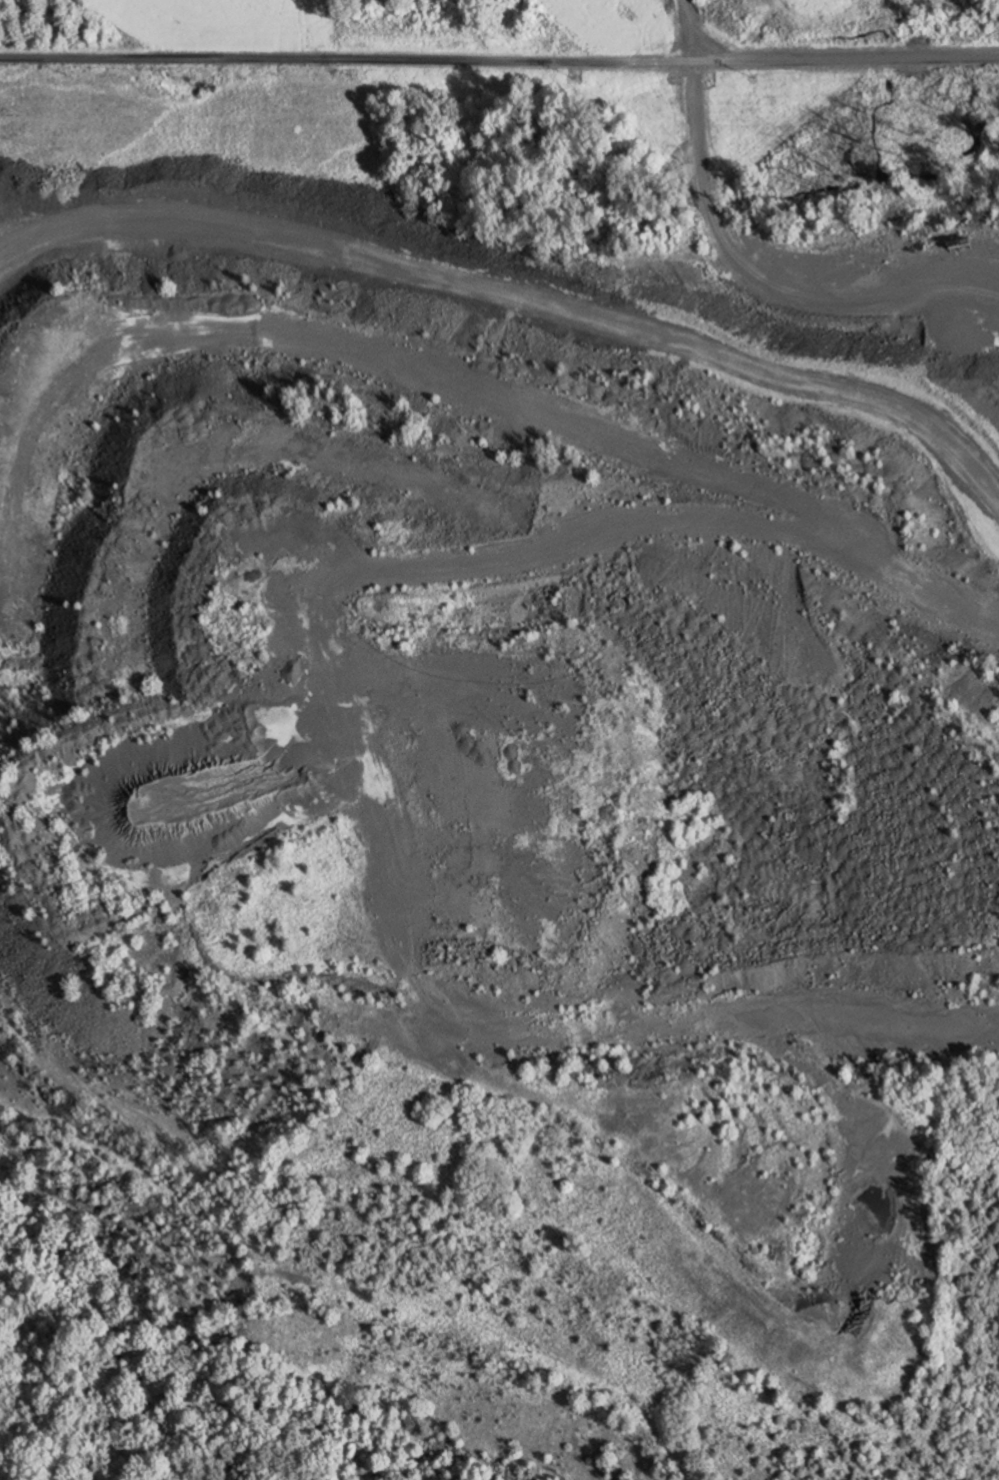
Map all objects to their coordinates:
road: (692, 30)
road: (499, 61)
road: (380, 260)
road: (765, 280)
quarry: (516, 816)
road: (251, 1354)

